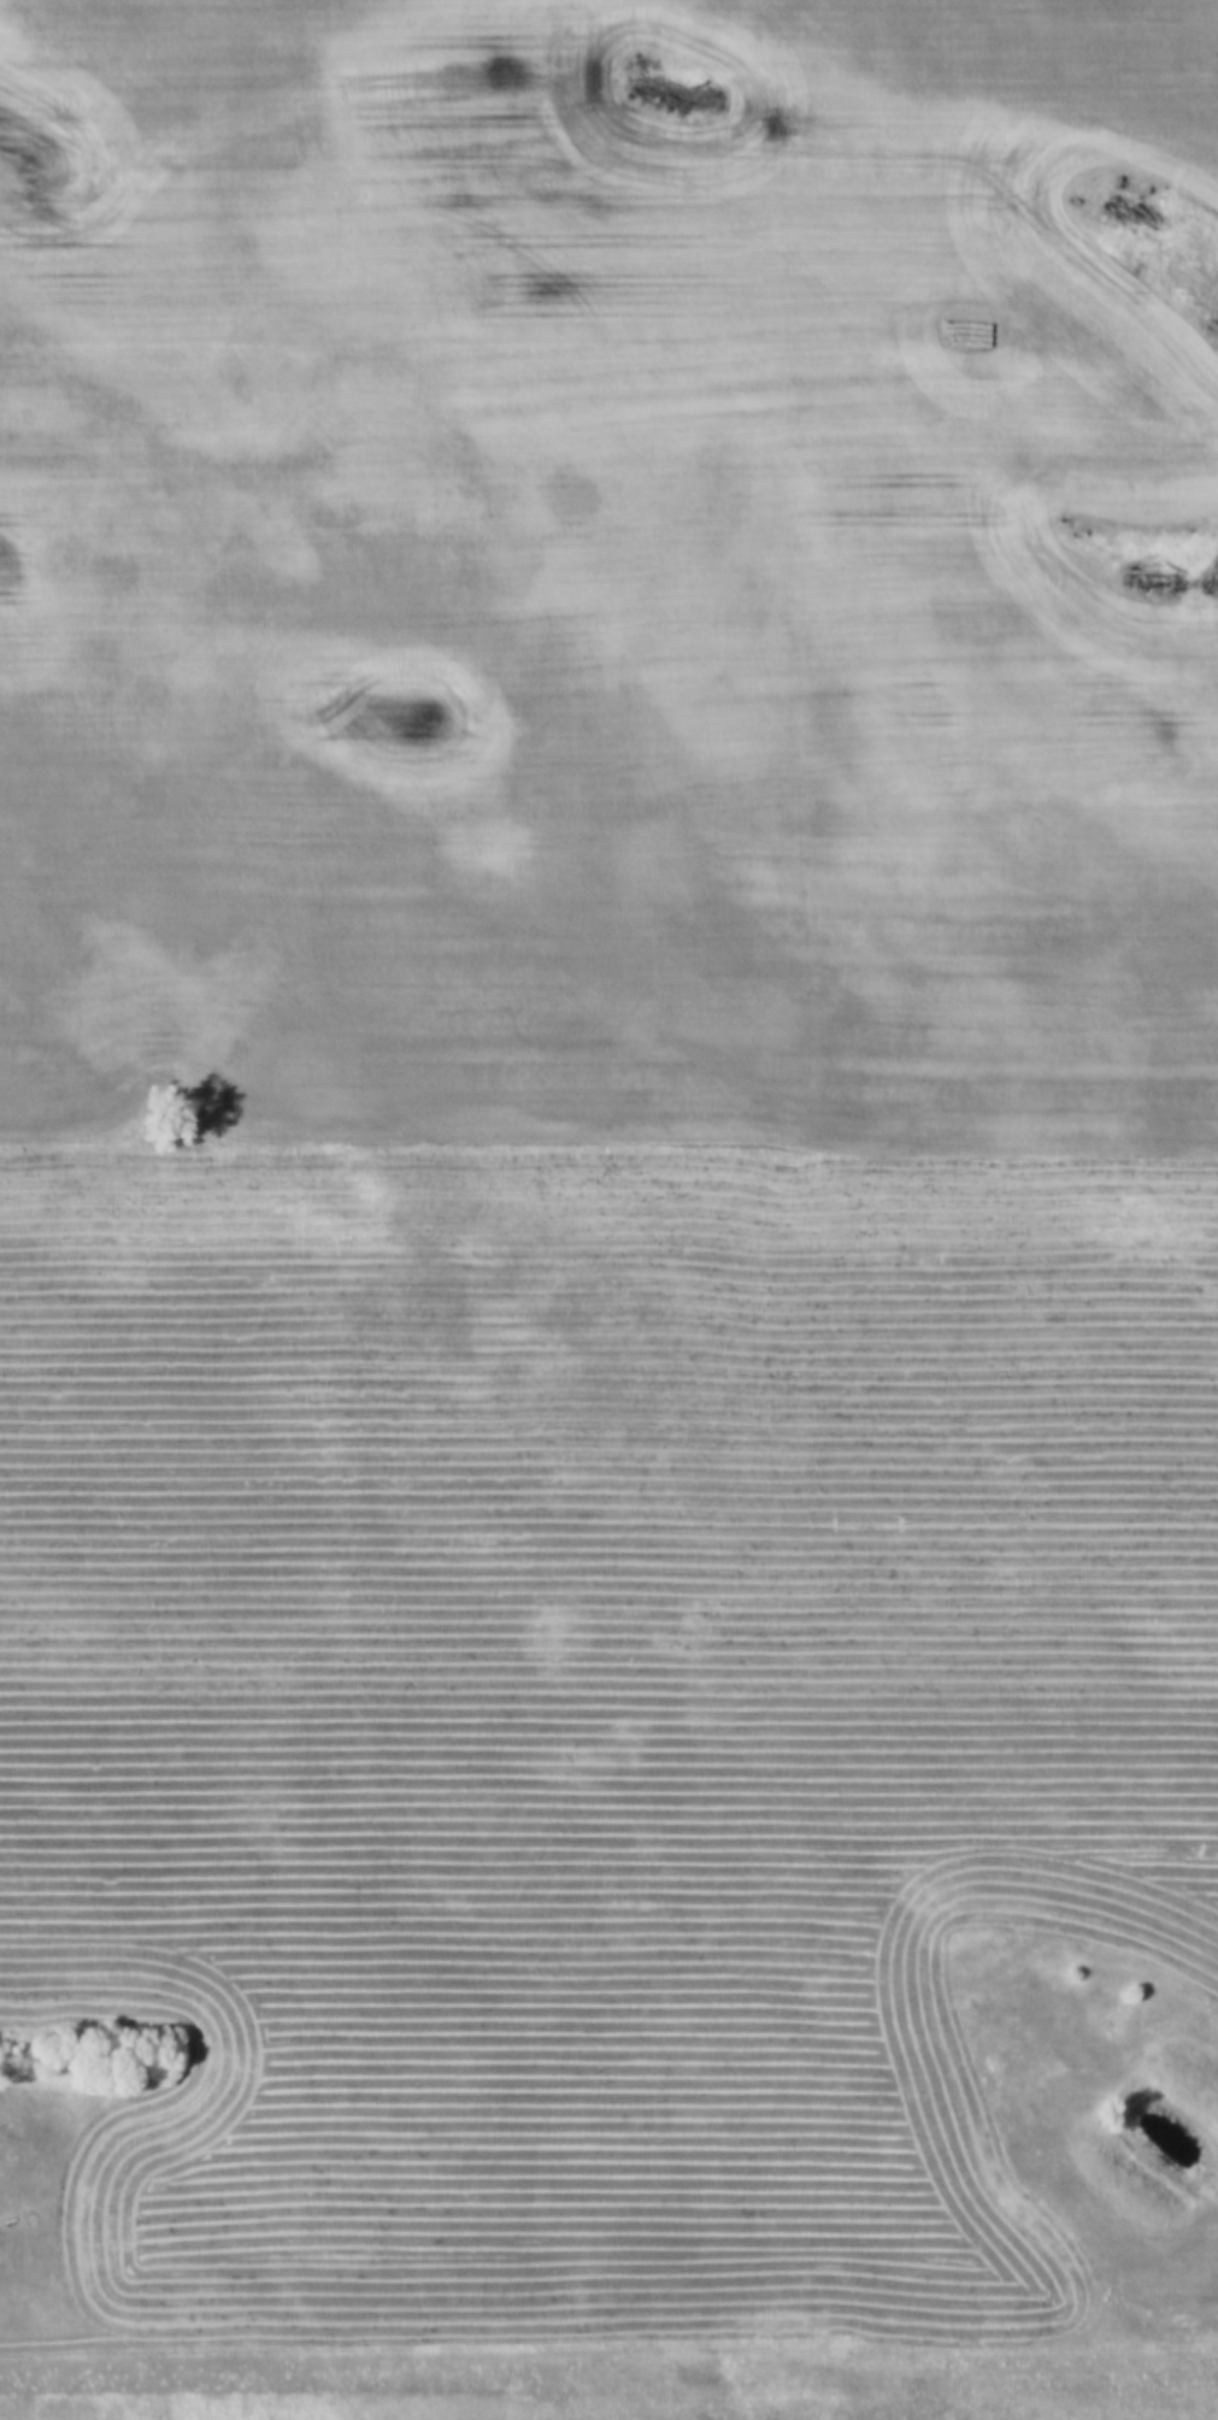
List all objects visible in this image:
road: (608, 2343)

